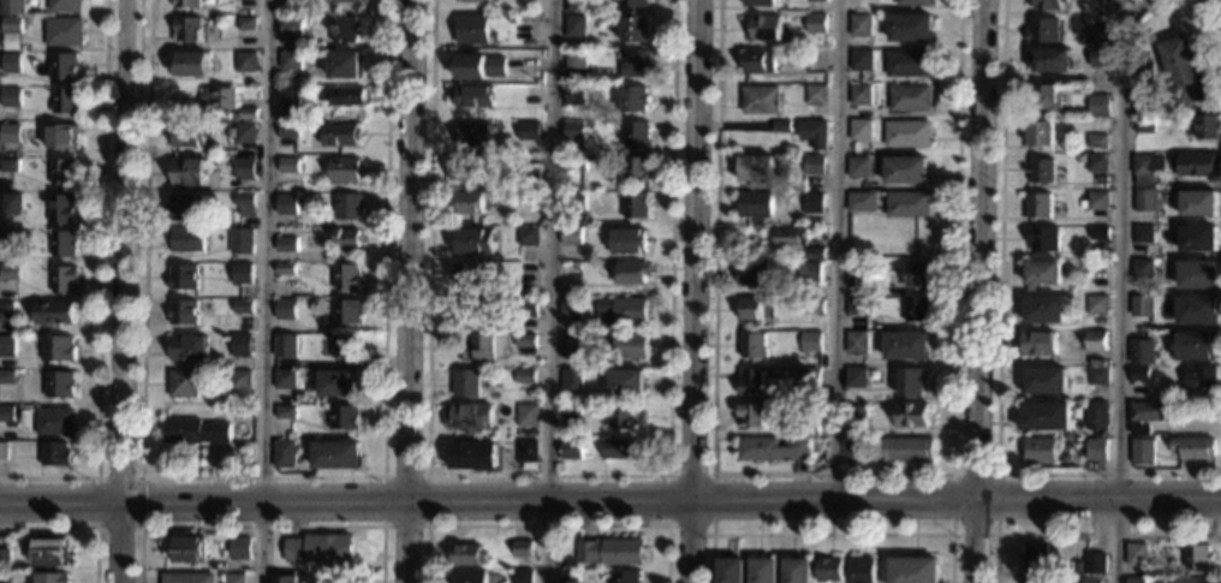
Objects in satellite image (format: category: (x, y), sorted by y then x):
building: (347, 1)
building: (478, 1)
building: (815, 1)
building: (762, 2)
building: (30, 4)
building: (184, 4)
building: (631, 4)
building: (912, 4)
building: (574, 5)
building: (1049, 5)
building: (61, 6)
building: (1112, 6)
building: (11, 7)
building: (288, 7)
road: (1208, 13)
building: (511, 19)
building: (24, 22)
building: (245, 24)
building: (814, 24)
building: (10, 26)
building: (573, 26)
building: (860, 26)
building: (526, 28)
building: (909, 28)
building: (290, 29)
building: (632, 29)
building: (764, 29)
building: (185, 30)
building: (344, 30)
building: (472, 30)
building: (1042, 31)
building: (61, 32)
road: (717, 34)
building: (1098, 37)
building: (573, 59)
building: (1100, 59)
building: (288, 60)
building: (859, 61)
building: (1052, 61)
building: (244, 63)
building: (758, 63)
building: (8, 64)
building: (906, 64)
building: (189, 65)
building: (482, 65)
building: (633, 65)
building: (346, 66)
building: (60, 67)
building: (1142, 71)
building: (1184, 73)
building: (519, 79)
building: (815, 95)
building: (287, 96)
building: (473, 96)
building: (574, 96)
building: (858, 96)
building: (8, 97)
building: (343, 97)
building: (1044, 97)
building: (216, 99)
building: (907, 99)
building: (632, 100)
building: (758, 101)
building: (64, 102)
building: (1098, 106)
building: (1142, 106)
building: (248, 114)
building: (7, 115)
building: (233, 118)
building: (1143, 126)
building: (780, 127)
building: (1205, 129)
building: (287, 131)
building: (528, 131)
building: (586, 131)
building: (857, 131)
building: (572, 132)
building: (226, 133)
building: (242, 133)
building: (8, 135)
building: (473, 135)
building: (812, 135)
building: (905, 135)
building: (340, 136)
building: (636, 136)
building: (187, 137)
building: (60, 138)
building: (1040, 138)
building: (1096, 143)
building: (1079, 159)
building: (1096, 163)
building: (576, 165)
building: (1142, 165)
building: (7, 166)
building: (811, 166)
building: (1198, 166)
building: (857, 168)
building: (243, 169)
building: (466, 169)
building: (287, 171)
building: (344, 171)
building: (635, 171)
building: (754, 171)
building: (904, 171)
building: (1040, 171)
building: (61, 173)
building: (186, 173)
building: (532, 183)
building: (796, 195)
building: (528, 200)
building: (1096, 201)
building: (1144, 201)
building: (573, 203)
building: (811, 203)
building: (858, 203)
building: (10, 204)
building: (286, 204)
building: (469, 204)
building: (1082, 204)
building: (1198, 204)
building: (243, 206)
building: (754, 206)
building: (906, 206)
building: (1037, 207)
building: (183, 208)
building: (347, 208)
building: (635, 208)
building: (60, 210)
building: (811, 230)
building: (1097, 233)
building: (1142, 234)
building: (570, 236)
building: (6, 237)
building: (528, 237)
building: (915, 237)
building: (788, 238)
building: (1198, 238)
building: (1042, 239)
building: (185, 240)
building: (346, 240)
building: (240, 242)
building: (473, 242)
building: (627, 243)
building: (284, 244)
building: (61, 245)
road: (835, 249)
building: (856, 250)
building: (814, 254)
building: (1140, 269)
building: (285, 270)
building: (1094, 270)
building: (854, 272)
building: (632, 273)
building: (809, 273)
building: (8, 274)
building: (242, 274)
building: (568, 274)
building: (750, 274)
building: (1041, 274)
building: (916, 275)
building: (1197, 275)
building: (467, 276)
building: (180, 278)
building: (345, 278)
building: (62, 281)
road: (1115, 285)
road: (100, 286)
road: (124, 291)
road: (264, 291)
road: (411, 291)
road: (549, 291)
road: (692, 291)
road: (983, 291)
building: (854, 307)
building: (1096, 307)
building: (242, 308)
building: (525, 308)
building: (810, 308)
building: (1140, 308)
building: (467, 309)
building: (570, 309)
building: (284, 310)
building: (750, 310)
building: (916, 310)
building: (1044, 310)
building: (6, 311)
building: (619, 311)
building: (1196, 311)
building: (54, 313)
building: (181, 313)
building: (346, 313)
building: (524, 341)
building: (809, 343)
building: (857, 343)
building: (1095, 343)
building: (1037, 344)
building: (239, 345)
building: (6, 346)
building: (344, 346)
building: (570, 346)
building: (627, 346)
building: (751, 346)
building: (906, 346)
building: (285, 347)
road: (999, 347)
building: (1193, 347)
building: (186, 349)
building: (58, 350)
building: (480, 350)
building: (1140, 352)
road: (955, 358)
building: (1138, 375)
building: (523, 376)
building: (1096, 376)
building: (6, 377)
building: (854, 379)
building: (239, 380)
building: (284, 380)
building: (568, 380)
building: (808, 380)
building: (1199, 380)
building: (1043, 381)
building: (1077, 381)
building: (910, 382)
building: (336, 383)
building: (625, 383)
building: (750, 383)
building: (59, 385)
building: (465, 385)
building: (181, 386)
building: (568, 409)
building: (6, 414)
building: (285, 414)
building: (524, 416)
building: (752, 416)
building: (910, 416)
building: (1095, 416)
building: (621, 417)
building: (854, 417)
building: (1044, 417)
building: (1143, 417)
building: (343, 418)
building: (469, 418)
building: (53, 421)
building: (806, 427)
building: (195, 433)
building: (816, 447)
building: (619, 448)
building: (568, 450)
building: (906, 450)
building: (1096, 450)
building: (1193, 450)
building: (2, 451)
building: (773, 451)
building: (848, 452)
building: (1038, 452)
building: (1142, 453)
building: (282, 454)
building: (54, 456)
building: (335, 456)
building: (525, 456)
building: (470, 457)
road: (546, 475)
road: (261, 477)
road: (382, 477)
road: (711, 482)
road: (609, 500)
road: (97, 501)
road: (141, 501)
road: (547, 524)
road: (261, 527)
road: (76, 528)
road: (996, 533)
road: (832, 534)
road: (1083, 534)
building: (321, 547)
building: (239, 548)
building: (522, 548)
building: (186, 549)
building: (612, 552)
building: (50, 553)
building: (466, 554)
building: (1137, 554)
building: (1198, 557)
building: (1035, 558)
building: (5, 559)
building: (1095, 564)
building: (829, 569)
building: (729, 570)
building: (763, 570)
building: (797, 570)
building: (915, 570)
building: (862, 571)
building: (466, 576)
building: (522, 576)
building: (568, 576)
building: (626, 577)
building: (52, 578)
building: (189, 578)
building: (233, 578)
building: (285, 579)
building: (1037, 581)
building: (1092, 581)
building: (1137, 581)
building: (1193, 581)

